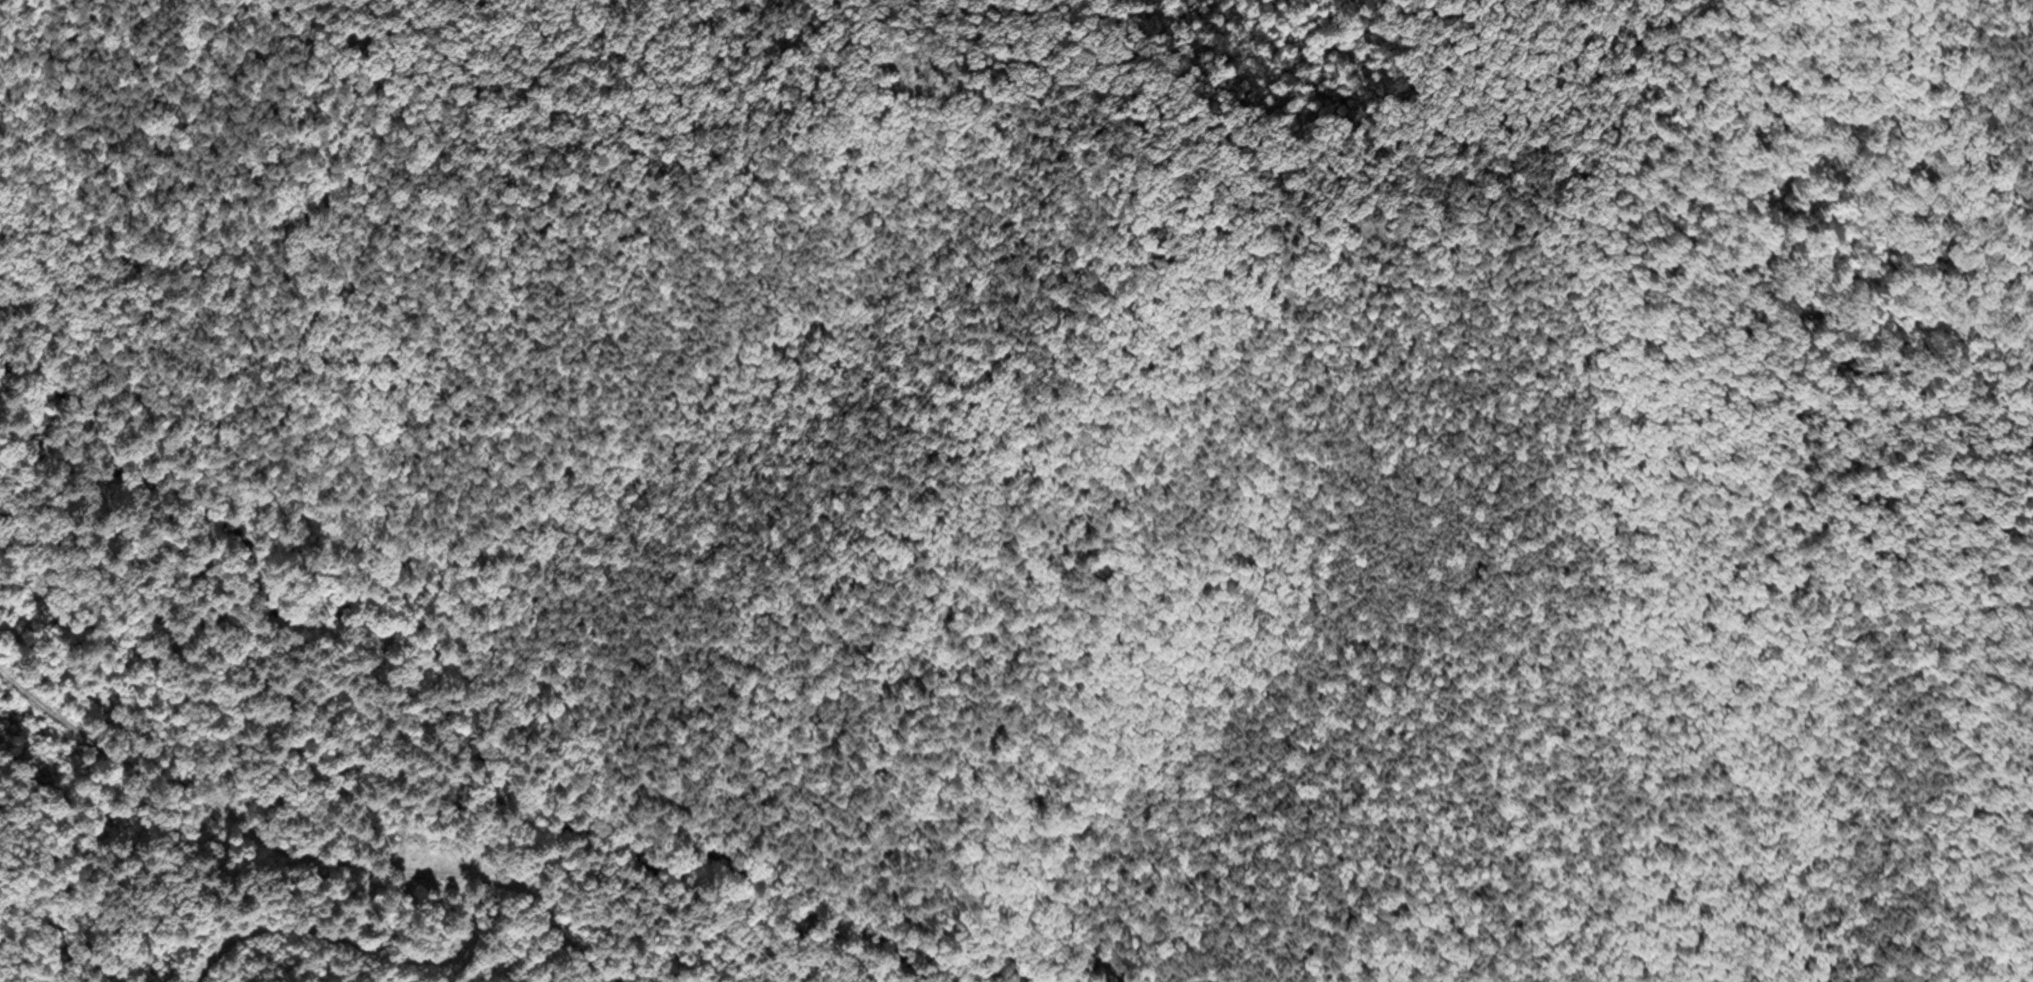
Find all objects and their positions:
road: (265, 821)

